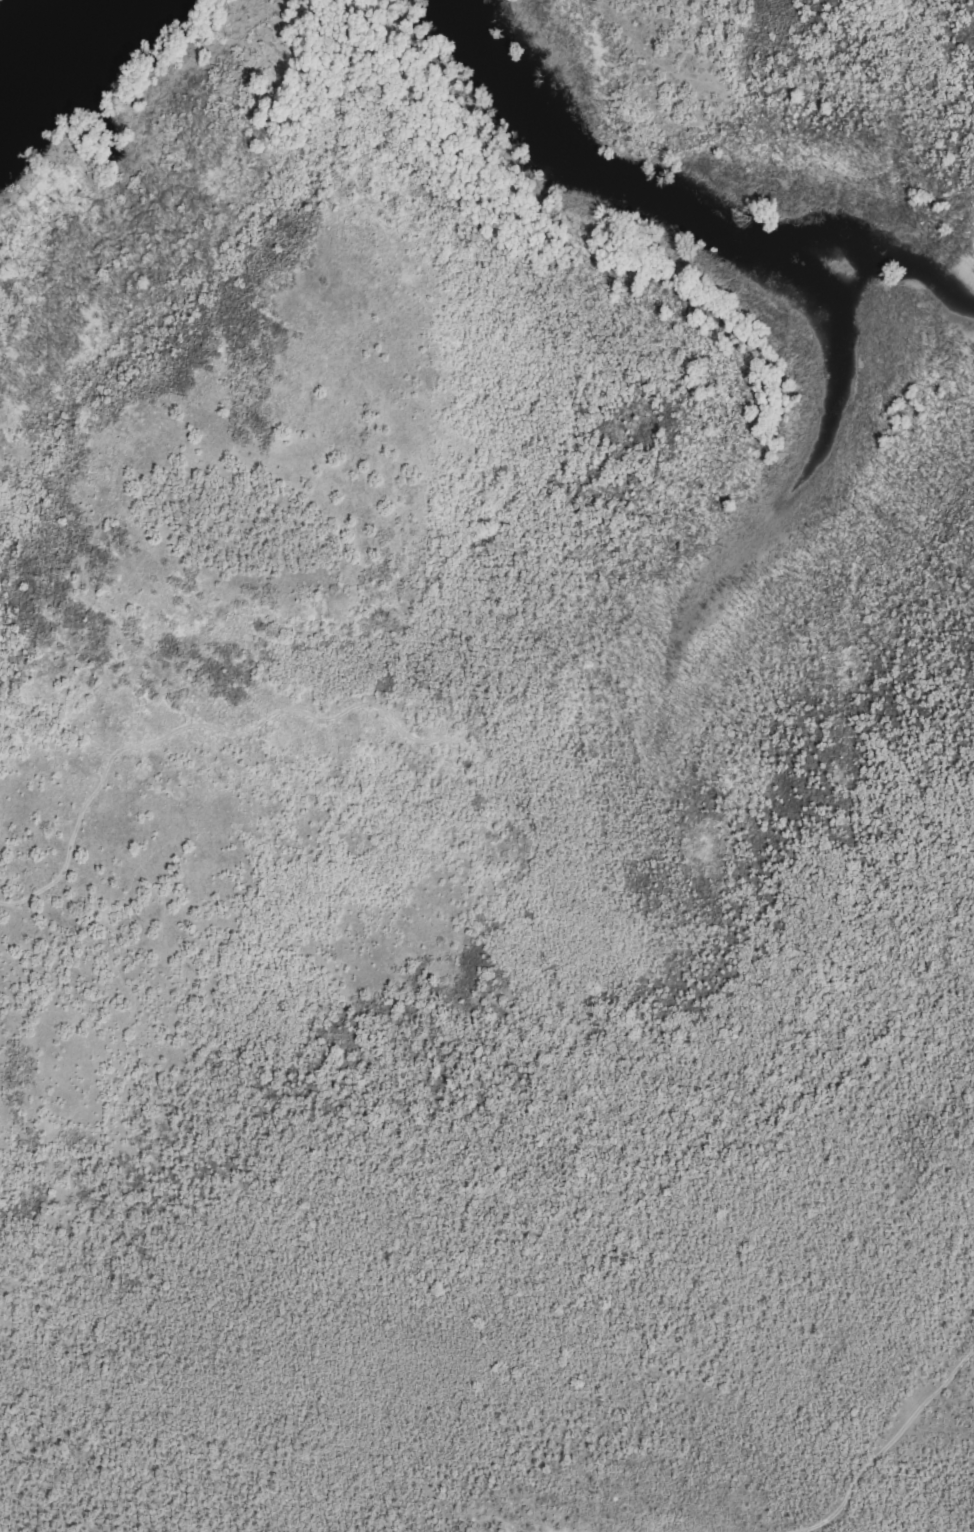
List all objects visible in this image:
river: (48, 51)

